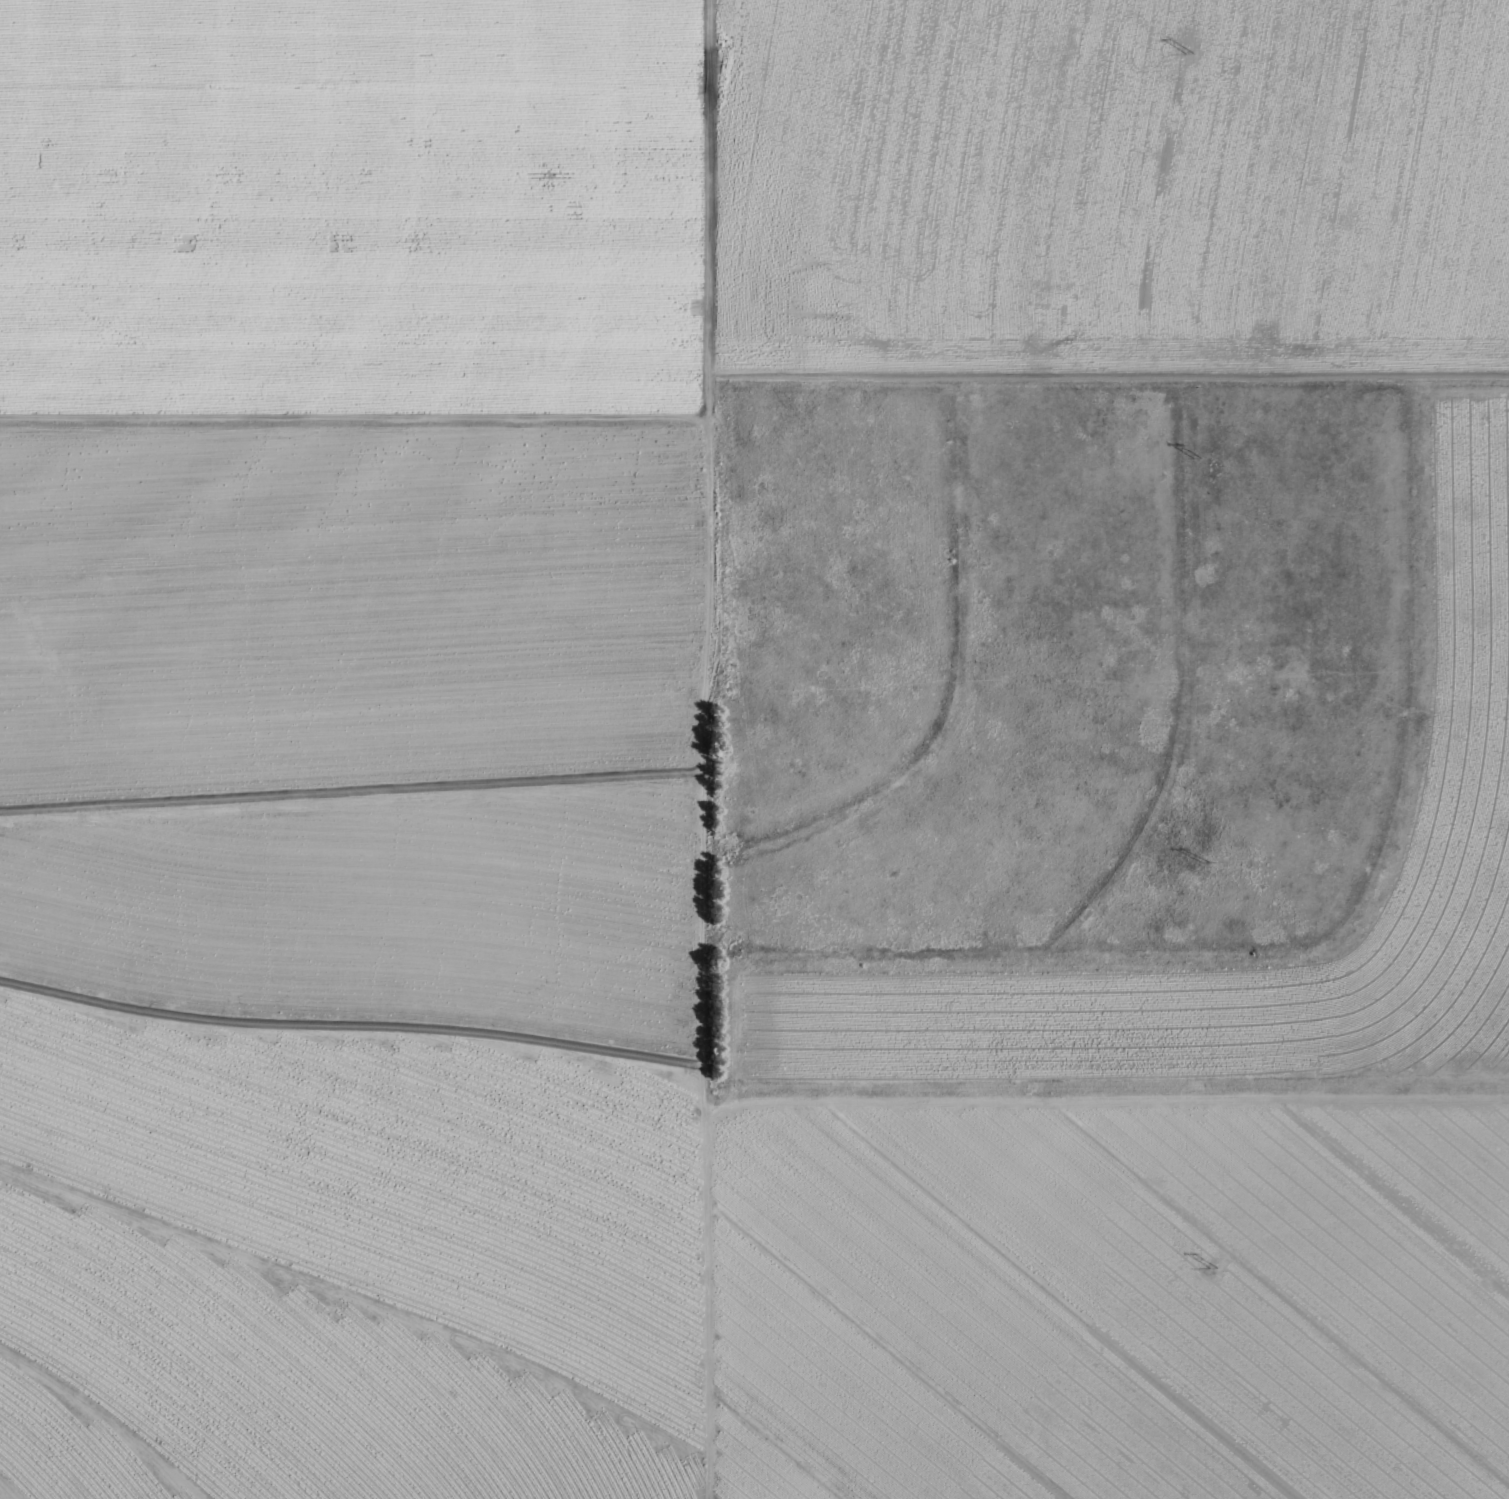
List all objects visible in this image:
power tower: (1194, 50)
power tower: (1201, 457)
power tower: (1210, 862)
power tower: (1218, 1266)

